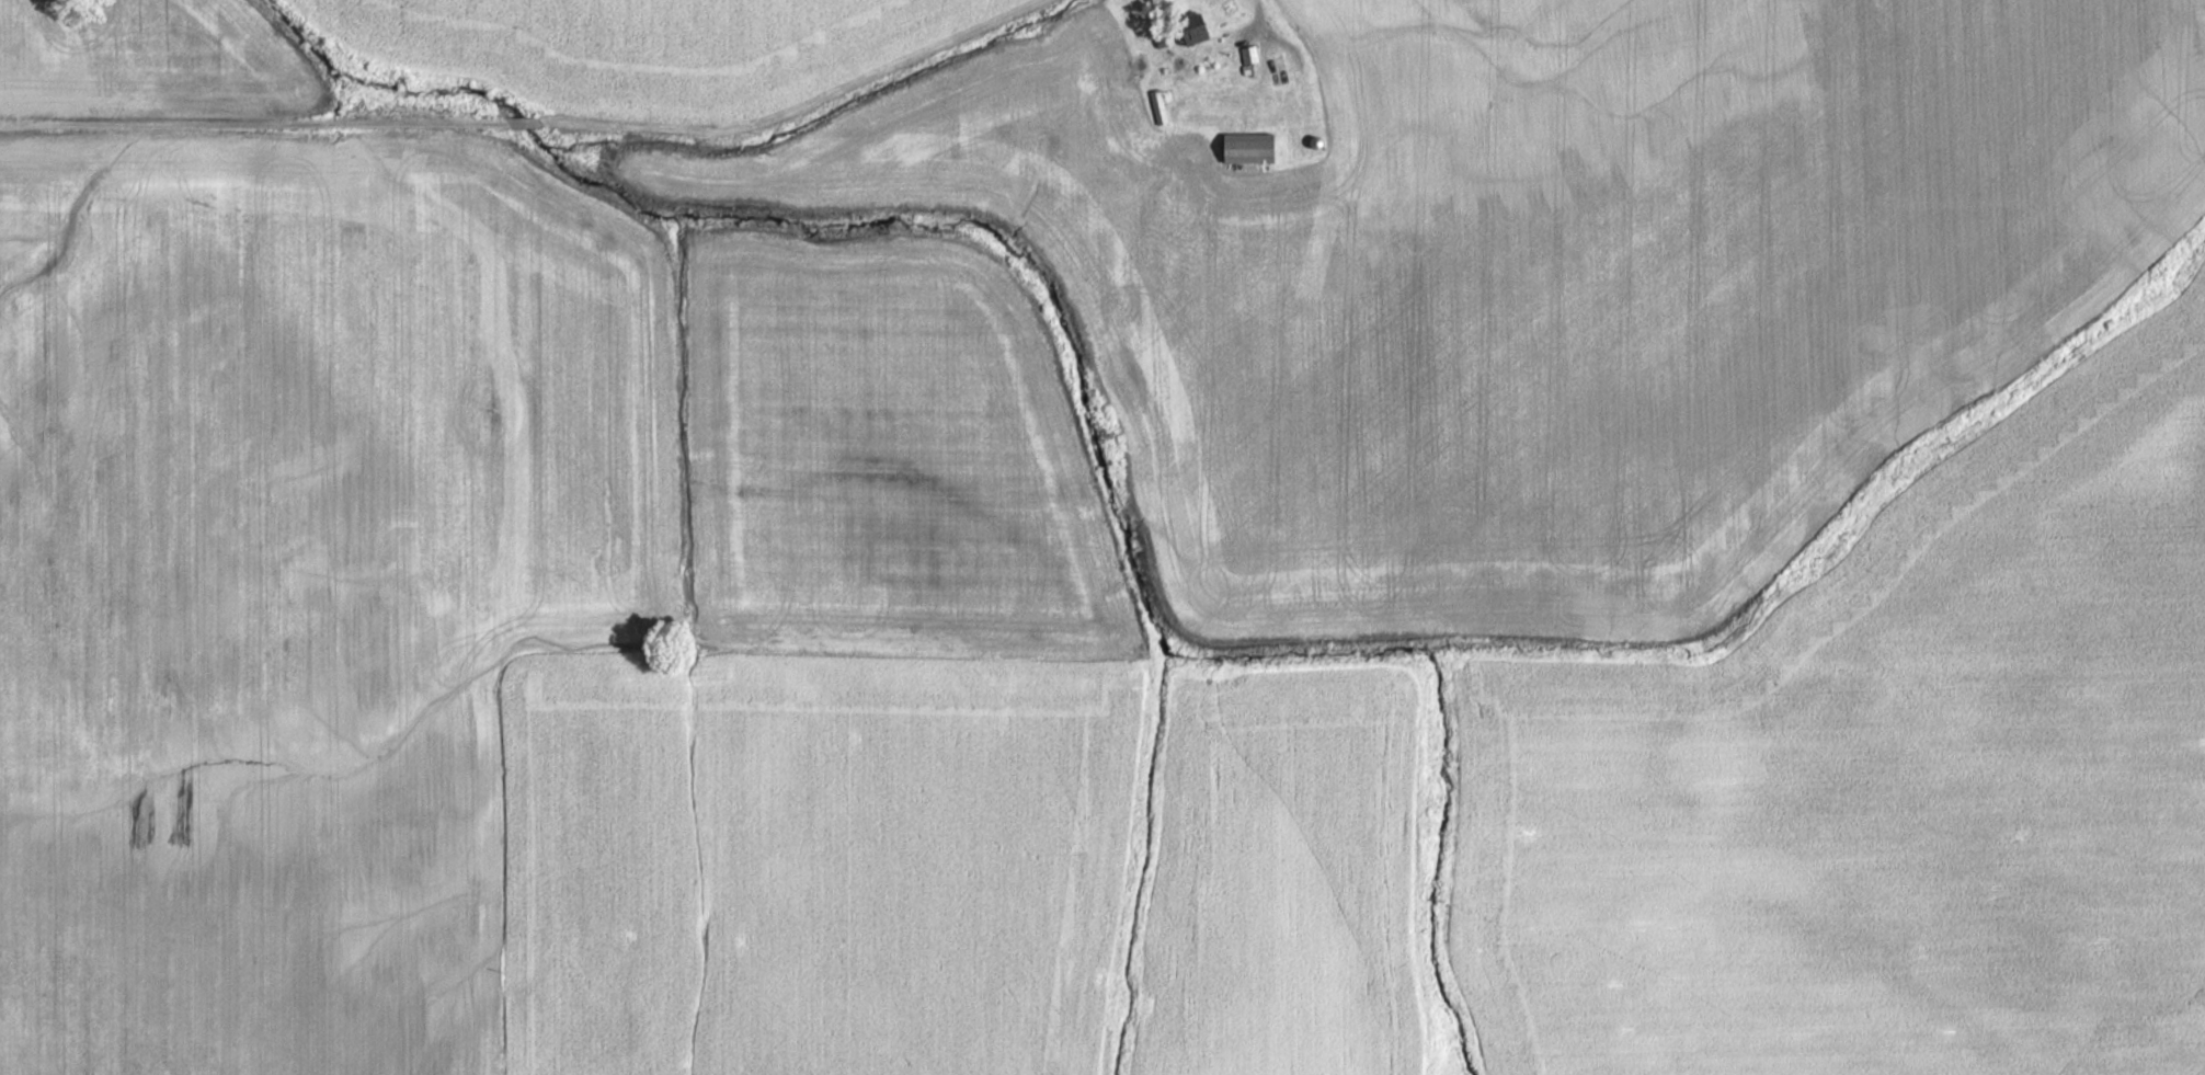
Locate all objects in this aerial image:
building: (1190, 26)
road: (1271, 35)
road: (1221, 36)
road: (959, 38)
building: (1248, 54)
building: (1157, 106)
building: (1247, 148)

